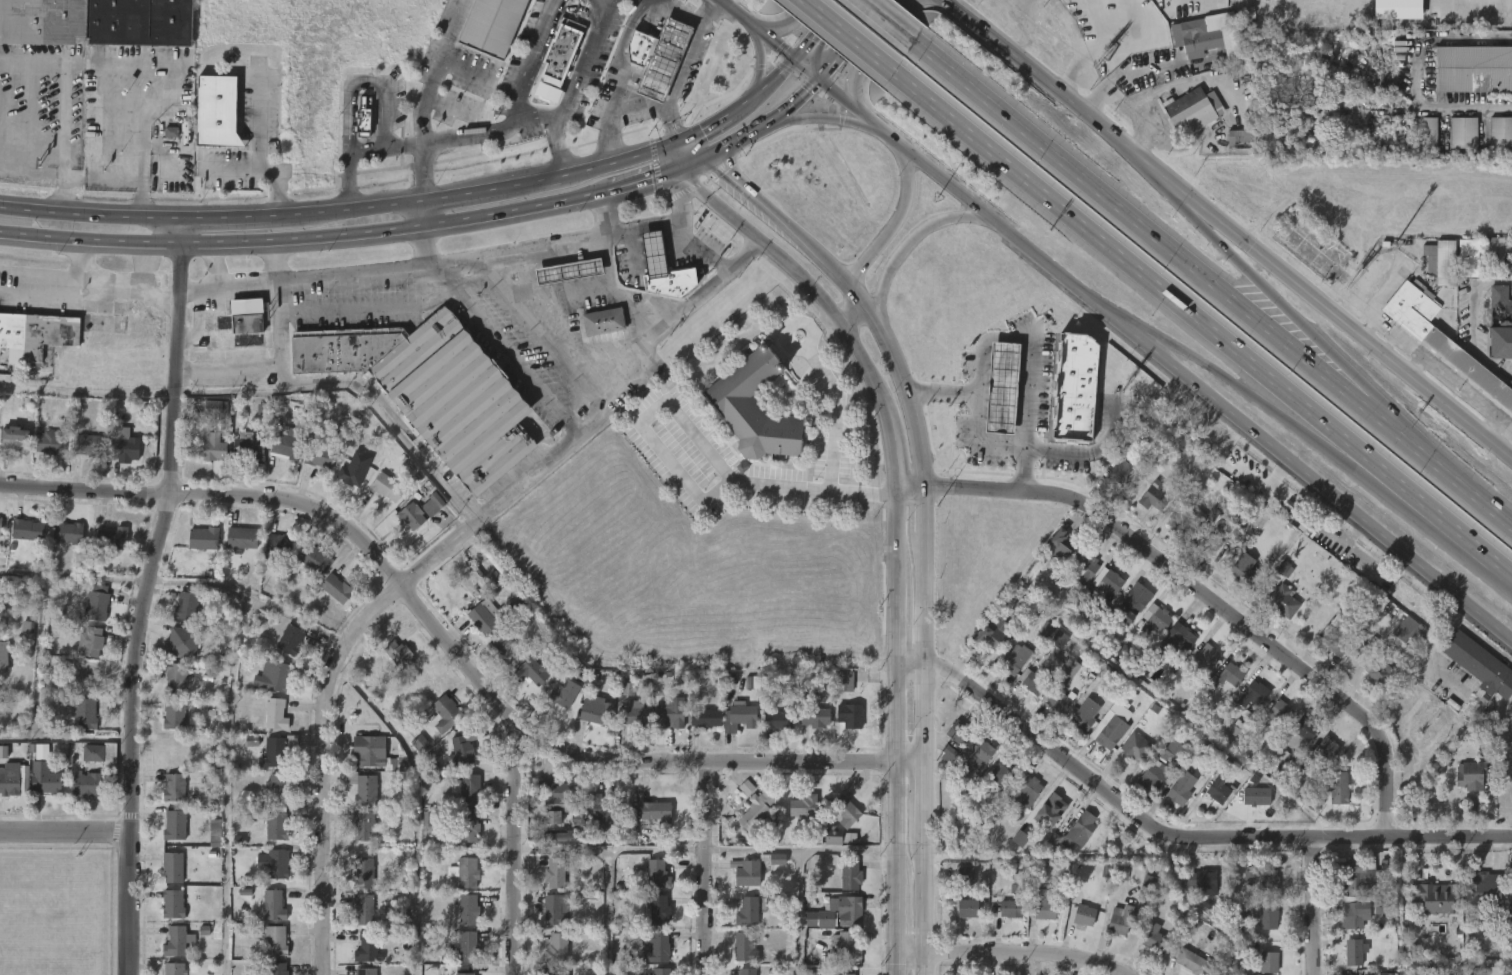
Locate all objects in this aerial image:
road: (948, 1)
road: (1131, 2)
building: (1391, 3)
building: (1109, 12)
road: (734, 13)
road: (693, 20)
road: (891, 20)
building: (41, 21)
building: (140, 22)
building: (491, 25)
road: (786, 25)
road: (819, 31)
road: (850, 36)
road: (1107, 37)
building: (1210, 37)
road: (882, 39)
road: (851, 42)
building: (641, 50)
building: (562, 53)
building: (663, 59)
gas station: (663, 59)
road: (623, 60)
traffic signals: (796, 61)
road: (586, 62)
road: (761, 62)
road: (82, 65)
road: (686, 65)
building: (1474, 68)
road: (1416, 74)
road: (367, 79)
traffic signals: (823, 83)
road: (1122, 83)
road: (761, 97)
road: (802, 100)
road: (516, 105)
road: (155, 107)
road: (62, 109)
building: (215, 110)
building: (1190, 111)
road: (635, 114)
building: (363, 118)
road: (847, 125)
building: (357, 128)
road: (554, 128)
building: (1430, 131)
road: (420, 132)
building: (1464, 132)
building: (1501, 132)
road: (705, 133)
building: (1242, 138)
road: (747, 141)
building: (165, 143)
building: (1456, 143)
building: (1423, 144)
road: (352, 147)
road: (672, 150)
road: (699, 150)
building: (1233, 150)
road: (256, 154)
road: (665, 166)
road: (692, 168)
road: (229, 169)
road: (609, 171)
road: (648, 183)
road: (492, 195)
road: (1179, 198)
road: (354, 214)
road: (601, 215)
road: (93, 217)
road: (421, 219)
road: (238, 221)
road: (1137, 222)
road: (783, 224)
road: (1229, 230)
road: (890, 231)
road: (911, 242)
road: (312, 243)
road: (425, 246)
road: (698, 248)
building: (1511, 257)
road: (453, 259)
building: (1442, 260)
road: (214, 263)
road: (1130, 263)
building: (1468, 264)
building: (663, 269)
building: (568, 271)
gas station: (568, 271)
building: (1433, 273)
road: (55, 274)
road: (1250, 275)
building: (1505, 275)
road: (128, 279)
building: (562, 282)
road: (1378, 302)
road: (371, 307)
road: (844, 314)
building: (246, 317)
road: (1475, 317)
road: (199, 320)
building: (603, 321)
road: (1127, 321)
building: (1499, 322)
building: (597, 332)
road: (540, 333)
road: (1131, 333)
building: (34, 335)
road: (1022, 338)
building: (1443, 340)
road: (1388, 345)
building: (341, 348)
road: (509, 349)
road: (1332, 366)
road: (231, 367)
road: (1420, 370)
road: (1219, 372)
road: (1444, 374)
road: (903, 385)
building: (1073, 389)
building: (456, 399)
building: (996, 399)
road: (839, 404)
building: (755, 408)
building: (207, 418)
road: (1322, 435)
building: (14, 440)
building: (51, 443)
building: (288, 444)
road: (984, 444)
building: (88, 445)
building: (123, 448)
building: (248, 448)
building: (213, 449)
road: (1066, 452)
building: (44, 454)
building: (319, 456)
building: (81, 457)
building: (242, 458)
building: (119, 460)
building: (208, 461)
building: (295, 463)
road: (1436, 465)
building: (1119, 472)
road: (687, 479)
building: (1113, 482)
building: (387, 486)
road: (907, 489)
building: (1152, 496)
building: (381, 498)
building: (1146, 507)
road: (488, 508)
road: (924, 509)
building: (419, 510)
road: (1438, 515)
building: (1181, 521)
building: (1209, 523)
building: (406, 527)
building: (25, 529)
road: (892, 532)
building: (66, 533)
building: (240, 537)
building: (109, 538)
building: (203, 539)
building: (22, 541)
building: (62, 543)
building: (1208, 544)
building: (282, 546)
building: (1062, 546)
building: (198, 549)
building: (236, 549)
building: (107, 550)
building: (273, 555)
building: (1055, 556)
building: (316, 558)
building: (1083, 565)
building: (307, 569)
building: (1241, 569)
road: (205, 577)
building: (1108, 580)
building: (338, 588)
building: (465, 590)
building: (1101, 592)
road: (146, 596)
building: (330, 599)
building: (1280, 600)
building: (97, 603)
building: (1132, 603)
road: (1210, 603)
building: (186, 605)
building: (1276, 611)
building: (484, 618)
building: (1155, 618)
building: (479, 629)
building: (1148, 631)
building: (1411, 631)
building: (995, 632)
building: (1340, 634)
building: (90, 640)
building: (293, 640)
building: (1398, 640)
building: (181, 641)
building: (1039, 641)
building: (1173, 642)
building: (507, 648)
road: (927, 650)
building: (1052, 650)
building: (284, 651)
building: (85, 652)
road: (451, 652)
building: (1204, 654)
building: (4, 657)
building: (397, 657)
building: (498, 659)
building: (1008, 663)
building: (1480, 664)
building: (393, 667)
building: (1201, 667)
building: (1376, 670)
building: (533, 672)
building: (1231, 675)
building: (272, 676)
building: (175, 678)
building: (1115, 679)
building: (1037, 680)
building: (843, 681)
building: (422, 683)
building: (526, 683)
building: (1062, 683)
building: (1372, 684)
building: (1221, 685)
building: (267, 687)
building: (1255, 691)
building: (565, 693)
building: (1057, 702)
building: (557, 705)
building: (1249, 707)
building: (274, 712)
building: (668, 712)
building: (1051, 712)
building: (1279, 712)
building: (84, 713)
building: (173, 714)
building: (446, 714)
building: (597, 714)
building: (1083, 714)
building: (633, 715)
building: (739, 716)
building: (846, 716)
road: (324, 717)
building: (706, 717)
building: (813, 717)
building: (777, 719)
building: (440, 724)
building: (590, 724)
building: (269, 725)
building: (1271, 725)
building: (664, 726)
building: (168, 728)
road: (230, 728)
building: (809, 728)
building: (699, 729)
building: (770, 731)
building: (956, 732)
building: (1107, 732)
building: (1299, 733)
building: (1134, 746)
building: (1326, 747)
building: (365, 749)
building: (462, 750)
building: (279, 751)
building: (176, 752)
building: (976, 753)
building: (98, 754)
building: (1128, 756)
building: (0, 759)
building: (1321, 759)
building: (453, 763)
building: (87, 764)
building: (268, 764)
building: (104, 765)
building: (941, 765)
building: (971, 766)
building: (1002, 772)
building: (1152, 774)
building: (1470, 775)
building: (11, 782)
building: (48, 782)
building: (85, 784)
building: (1464, 786)
building: (176, 787)
building: (274, 787)
building: (362, 787)
building: (1146, 787)
building: (1337, 787)
building: (469, 788)
building: (1182, 788)
building: (1026, 791)
building: (1216, 791)
building: (80, 795)
building: (1255, 795)
building: (169, 798)
building: (740, 798)
building: (357, 799)
building: (1331, 799)
building: (461, 800)
building: (1210, 800)
road: (927, 801)
road: (417, 804)
building: (562, 804)
building: (803, 805)
building: (1253, 808)
building: (755, 809)
building: (845, 809)
building: (1049, 809)
building: (657, 810)
building: (603, 811)
building: (796, 817)
building: (594, 820)
building: (839, 821)
building: (651, 823)
building: (174, 825)
building: (275, 825)
building: (364, 826)
building: (472, 826)
building: (546, 828)
building: (421, 829)
building: (1078, 829)
road: (64, 832)
building: (169, 836)
building: (567, 836)
building: (270, 837)
building: (357, 837)
building: (462, 838)
road: (1176, 841)
building: (827, 847)
road: (514, 849)
road: (561, 849)
building: (563, 849)
road: (753, 849)
building: (1013, 849)
building: (272, 862)
road: (607, 863)
building: (172, 865)
road: (800, 865)
building: (467, 871)
road: (706, 871)
building: (745, 871)
building: (554, 872)
building: (366, 873)
building: (655, 874)
building: (851, 874)
building: (268, 875)
building: (1386, 875)
building: (1358, 876)
building: (167, 879)
building: (1261, 880)
building: (1199, 882)
building: (357, 883)
building: (460, 883)
building: (549, 883)
building: (741, 884)
building: (959, 884)
building: (844, 886)
building: (1252, 888)
building: (1486, 889)
building: (1193, 892)
building: (1434, 896)
building: (171, 902)
building: (272, 904)
road: (925, 904)
building: (1044, 905)
building: (362, 908)
building: (555, 908)
road: (1312, 908)
building: (468, 909)
building: (965, 909)
building: (1008, 909)
building: (1427, 909)
building: (1355, 910)
building: (657, 911)
building: (745, 911)
building: (840, 912)
building: (1266, 912)
building: (1084, 914)
building: (167, 915)
building: (267, 916)
building: (1038, 916)
building: (961, 919)
building: (1004, 919)
building: (358, 920)
building: (462, 920)
building: (548, 920)
building: (1118, 920)
building: (831, 924)
building: (1347, 925)
building: (1078, 926)
building: (1260, 928)
building: (1112, 932)
building: (1152, 938)
building: (175, 940)
building: (274, 940)
building: (467, 945)
building: (656, 945)
building: (365, 946)
building: (557, 947)
building: (742, 947)
building: (846, 947)
building: (269, 951)
building: (1354, 951)
building: (840, 956)
building: (461, 957)
building: (650, 957)
building: (738, 958)
building: (551, 959)
road: (1001, 962)
building: (1191, 962)
building: (1267, 962)
building: (1346, 962)
building: (174, 968)
building: (273, 968)
road: (1019, 968)
building: (1183, 969)
building: (366, 970)
building: (660, 970)
building: (555, 971)
building: (746, 971)
building: (464, 974)
building: (846, 974)

